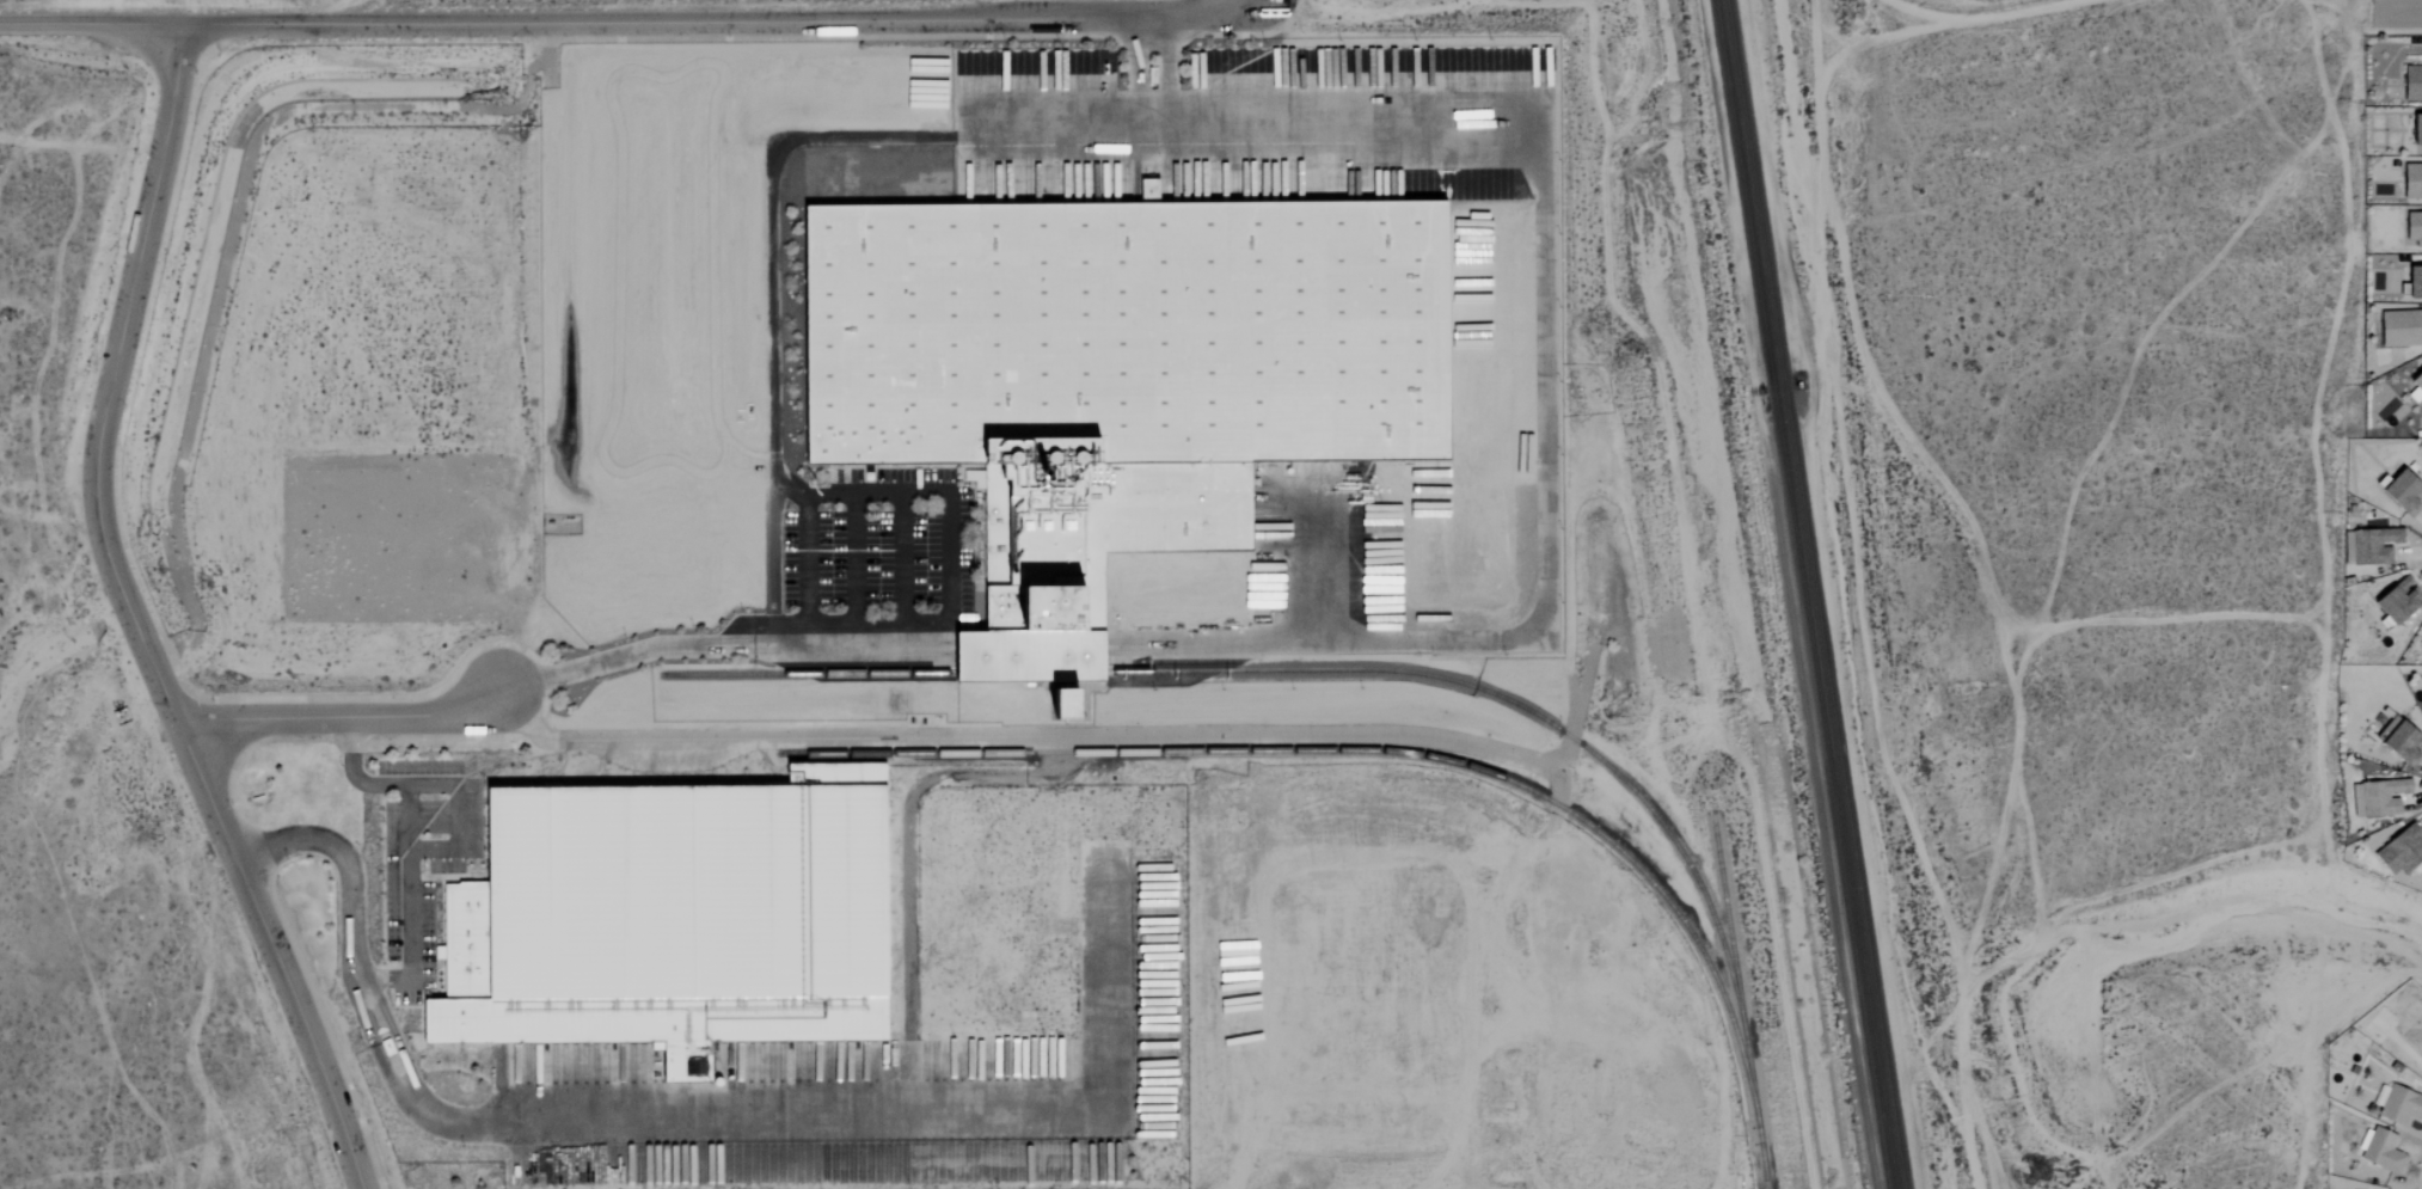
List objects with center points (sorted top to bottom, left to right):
road: (2393, 12)
road: (624, 24)
building: (2410, 84)
road: (1152, 105)
road: (1158, 105)
building: (2414, 130)
building: (2410, 182)
road: (768, 215)
building: (2411, 229)
building: (2410, 284)
building: (2399, 329)
building: (1115, 376)
building: (2416, 382)
building: (2399, 492)
parking lot: (883, 541)
building: (2378, 545)
road: (1986, 580)
railway: (1802, 594)
railway: (1814, 594)
building: (2395, 602)
street lamp: (729, 611)
street lamp: (772, 611)
road: (133, 623)
street lamp: (693, 631)
street lamp: (627, 638)
road: (938, 646)
street lamp: (560, 654)
railway: (1302, 670)
building: (1066, 706)
road: (336, 718)
road: (1023, 737)
road: (1569, 740)
building: (2400, 746)
railway: (1368, 750)
building: (2380, 796)
building: (2399, 850)
road: (407, 853)
parking lot: (419, 864)
road: (345, 876)
building: (668, 919)
street lamp: (249, 963)
railway: (1739, 1006)
road: (375, 1022)
building: (2420, 1052)
road: (374, 1064)
road: (405, 1068)
street lamp: (347, 1087)
building: (2399, 1107)
road: (551, 1128)
building: (2380, 1152)
railway: (1761, 1166)

